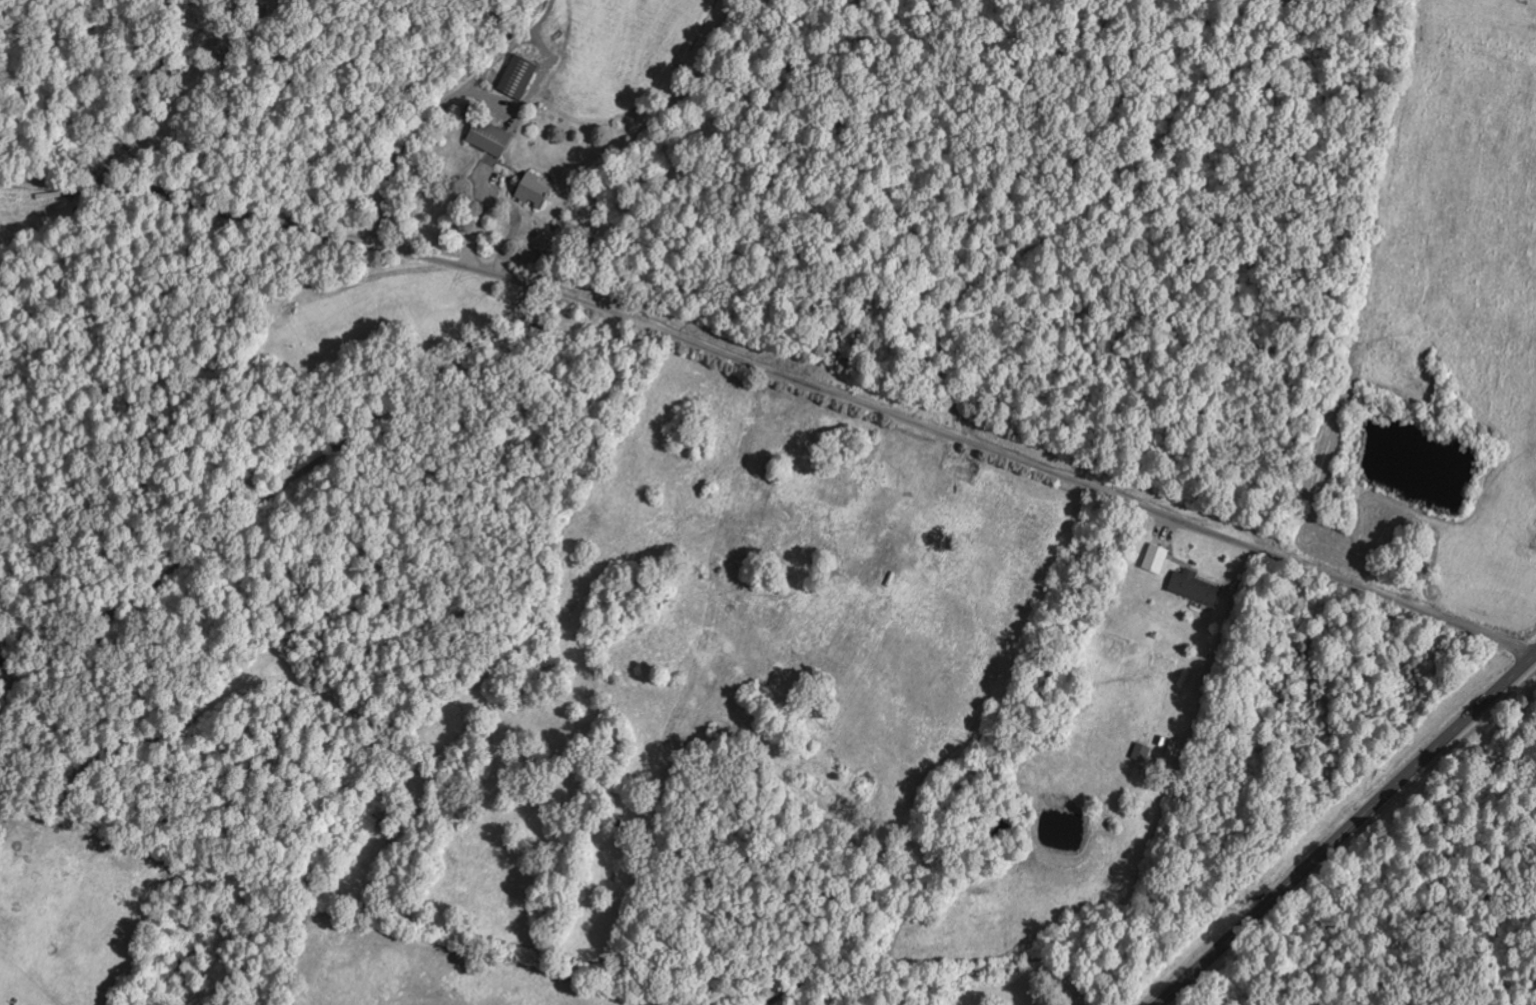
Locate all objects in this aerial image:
building: (518, 77)
building: (489, 138)
building: (533, 190)
road: (314, 424)
road: (950, 436)
building: (1156, 559)
building: (1195, 587)
road: (67, 667)
road: (1347, 829)
road: (265, 976)

